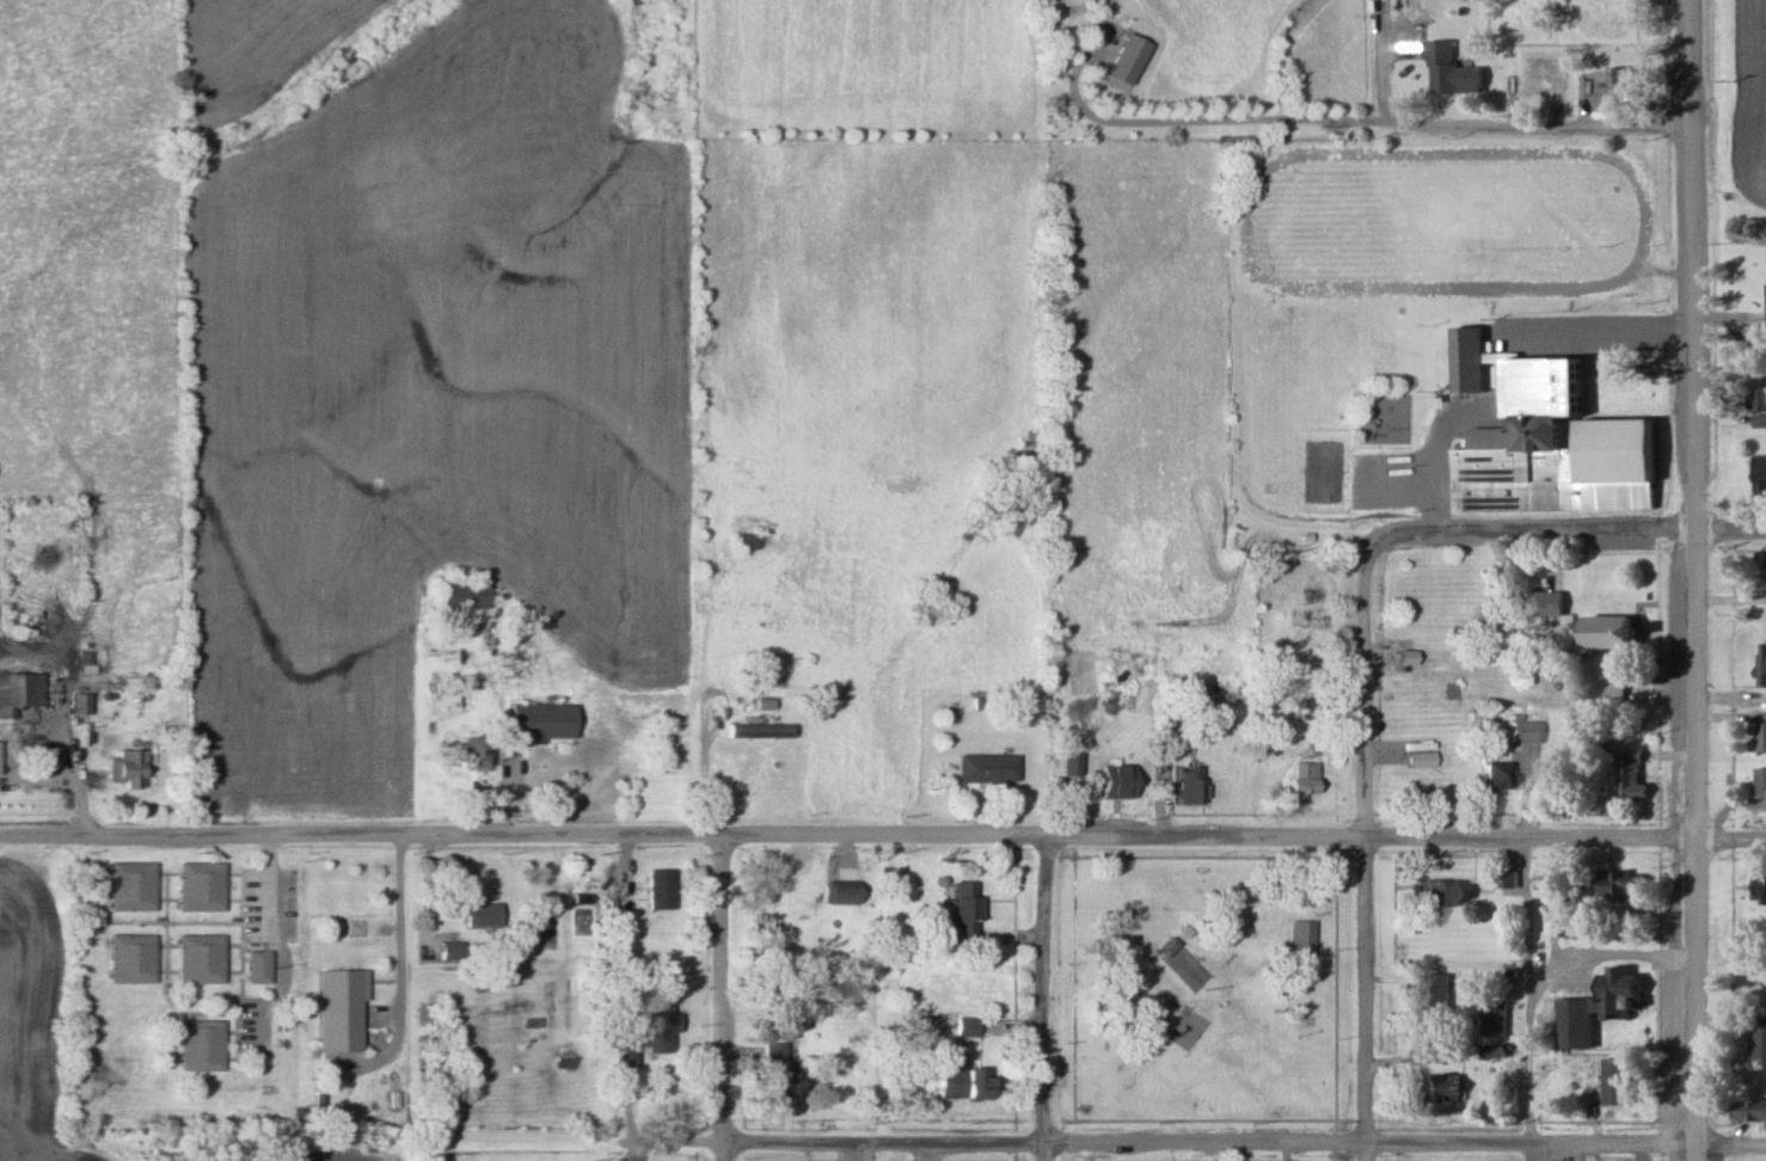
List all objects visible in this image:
building: (1461, 53)
building: (1126, 59)
building: (1451, 72)
building: (1615, 84)
building: (1528, 87)
road: (1322, 117)
building: (1765, 301)
road: (1501, 346)
building: (1758, 407)
building: (1381, 418)
building: (1547, 438)
building: (1758, 475)
road: (1557, 529)
building: (743, 541)
road: (1690, 579)
building: (461, 595)
building: (1538, 603)
building: (1611, 633)
building: (1406, 662)
building: (1765, 663)
building: (1611, 680)
building: (19, 692)
building: (1114, 704)
building: (78, 705)
building: (1317, 709)
building: (541, 721)
building: (758, 731)
building: (1522, 732)
building: (1764, 732)
road: (706, 743)
building: (472, 751)
building: (995, 751)
building: (1419, 760)
building: (1069, 764)
road: (78, 768)
building: (125, 769)
building: (985, 769)
building: (1500, 778)
building: (1302, 779)
building: (1631, 780)
building: (1117, 781)
building: (1760, 785)
building: (1188, 786)
building: (1440, 792)
road: (360, 834)
road: (1243, 840)
road: (1362, 862)
building: (1623, 885)
building: (129, 886)
building: (200, 886)
building: (657, 887)
building: (1758, 889)
building: (585, 890)
building: (840, 893)
building: (1442, 893)
parking lot: (265, 905)
building: (961, 909)
building: (479, 916)
road: (394, 924)
building: (1756, 934)
building: (1301, 938)
road: (1606, 944)
road: (277, 946)
building: (130, 958)
building: (201, 958)
building: (258, 966)
park: (1201, 991)
building: (1619, 991)
building: (1434, 995)
road: (719, 1000)
road: (1040, 1000)
road: (1523, 1000)
building: (337, 1008)
building: (1491, 1018)
building: (1574, 1024)
building: (958, 1027)
parking lot: (251, 1028)
building: (657, 1030)
building: (1758, 1039)
building: (201, 1046)
building: (621, 1052)
building: (778, 1074)
building: (1617, 1081)
building: (962, 1082)
building: (1437, 1089)
building: (1753, 1111)
road: (674, 1141)
road: (1041, 1142)
road: (1564, 1147)

